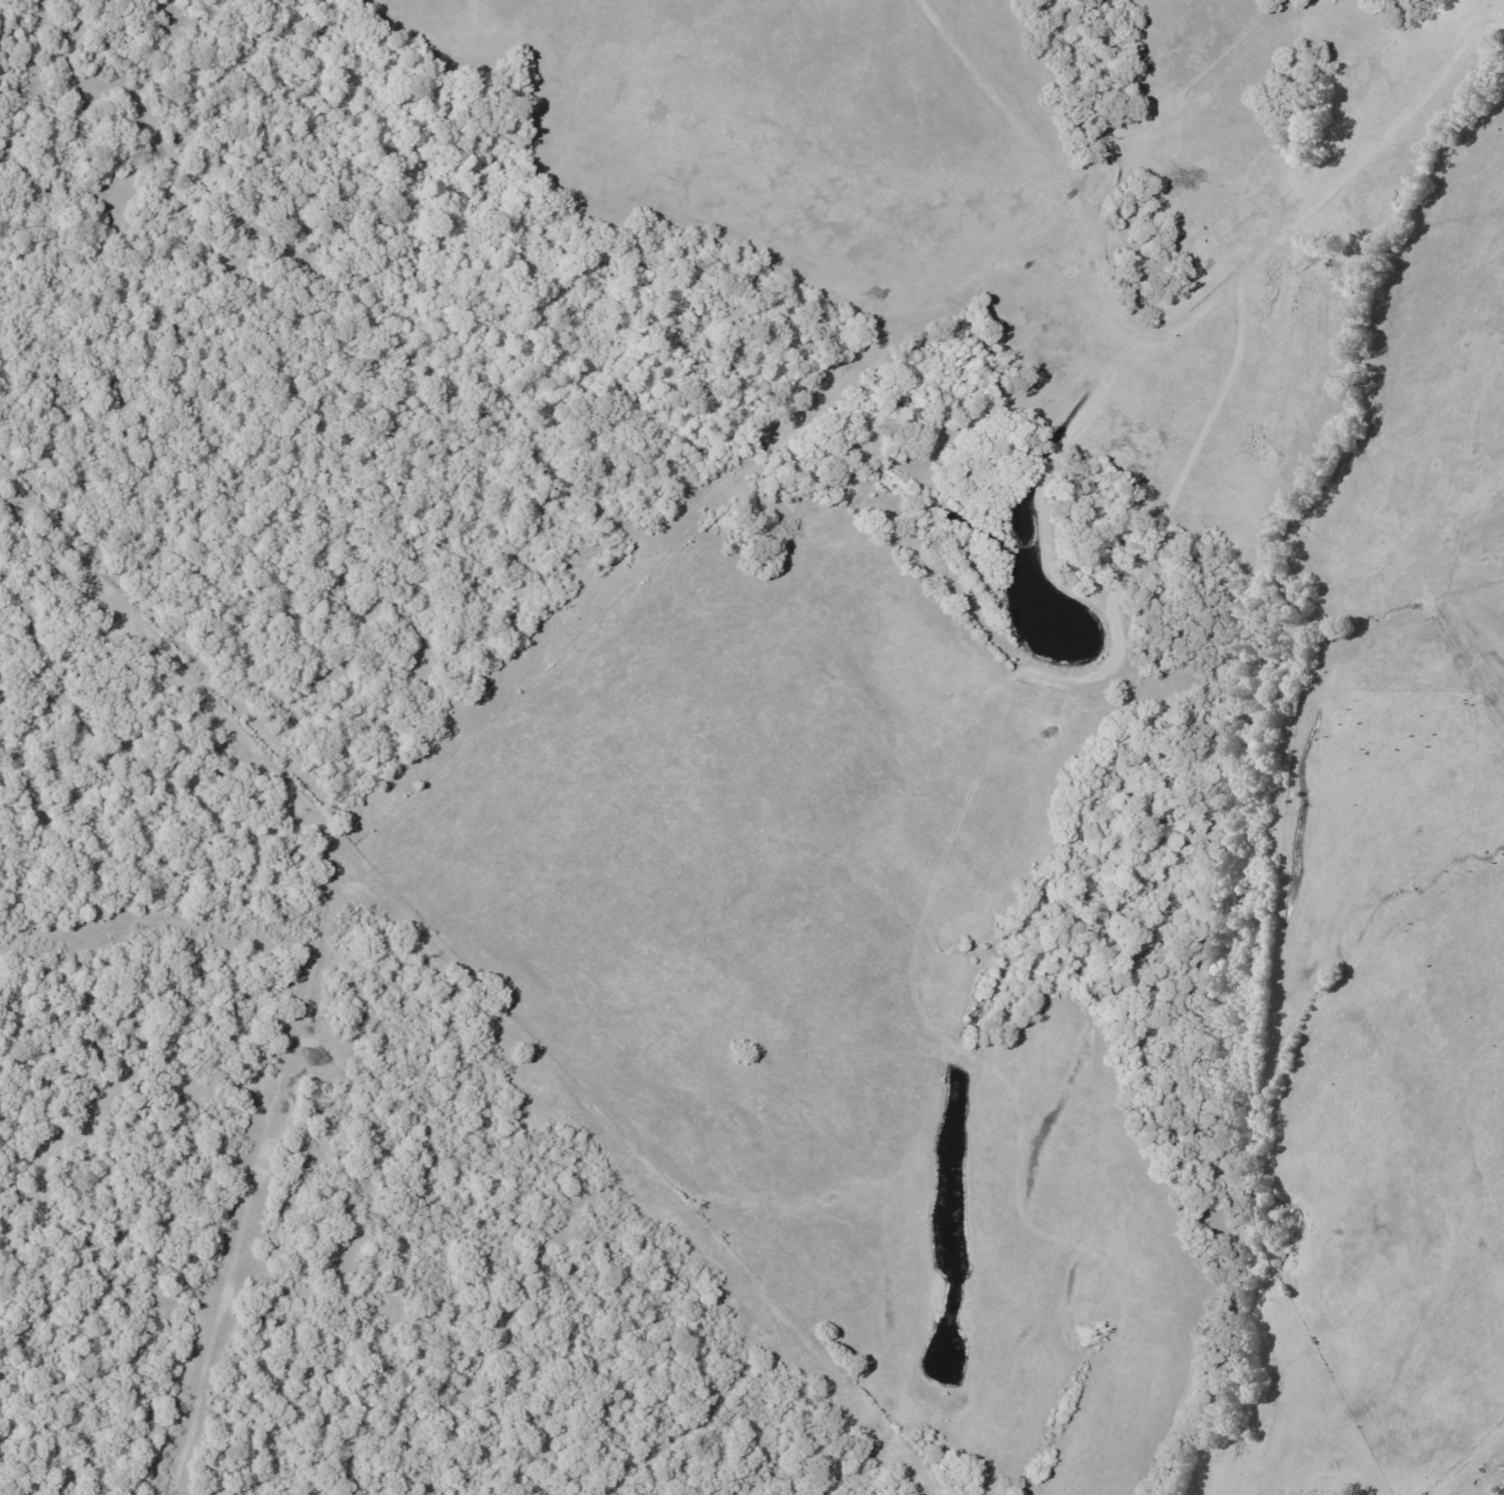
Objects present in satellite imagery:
road: (1499, 1490)

